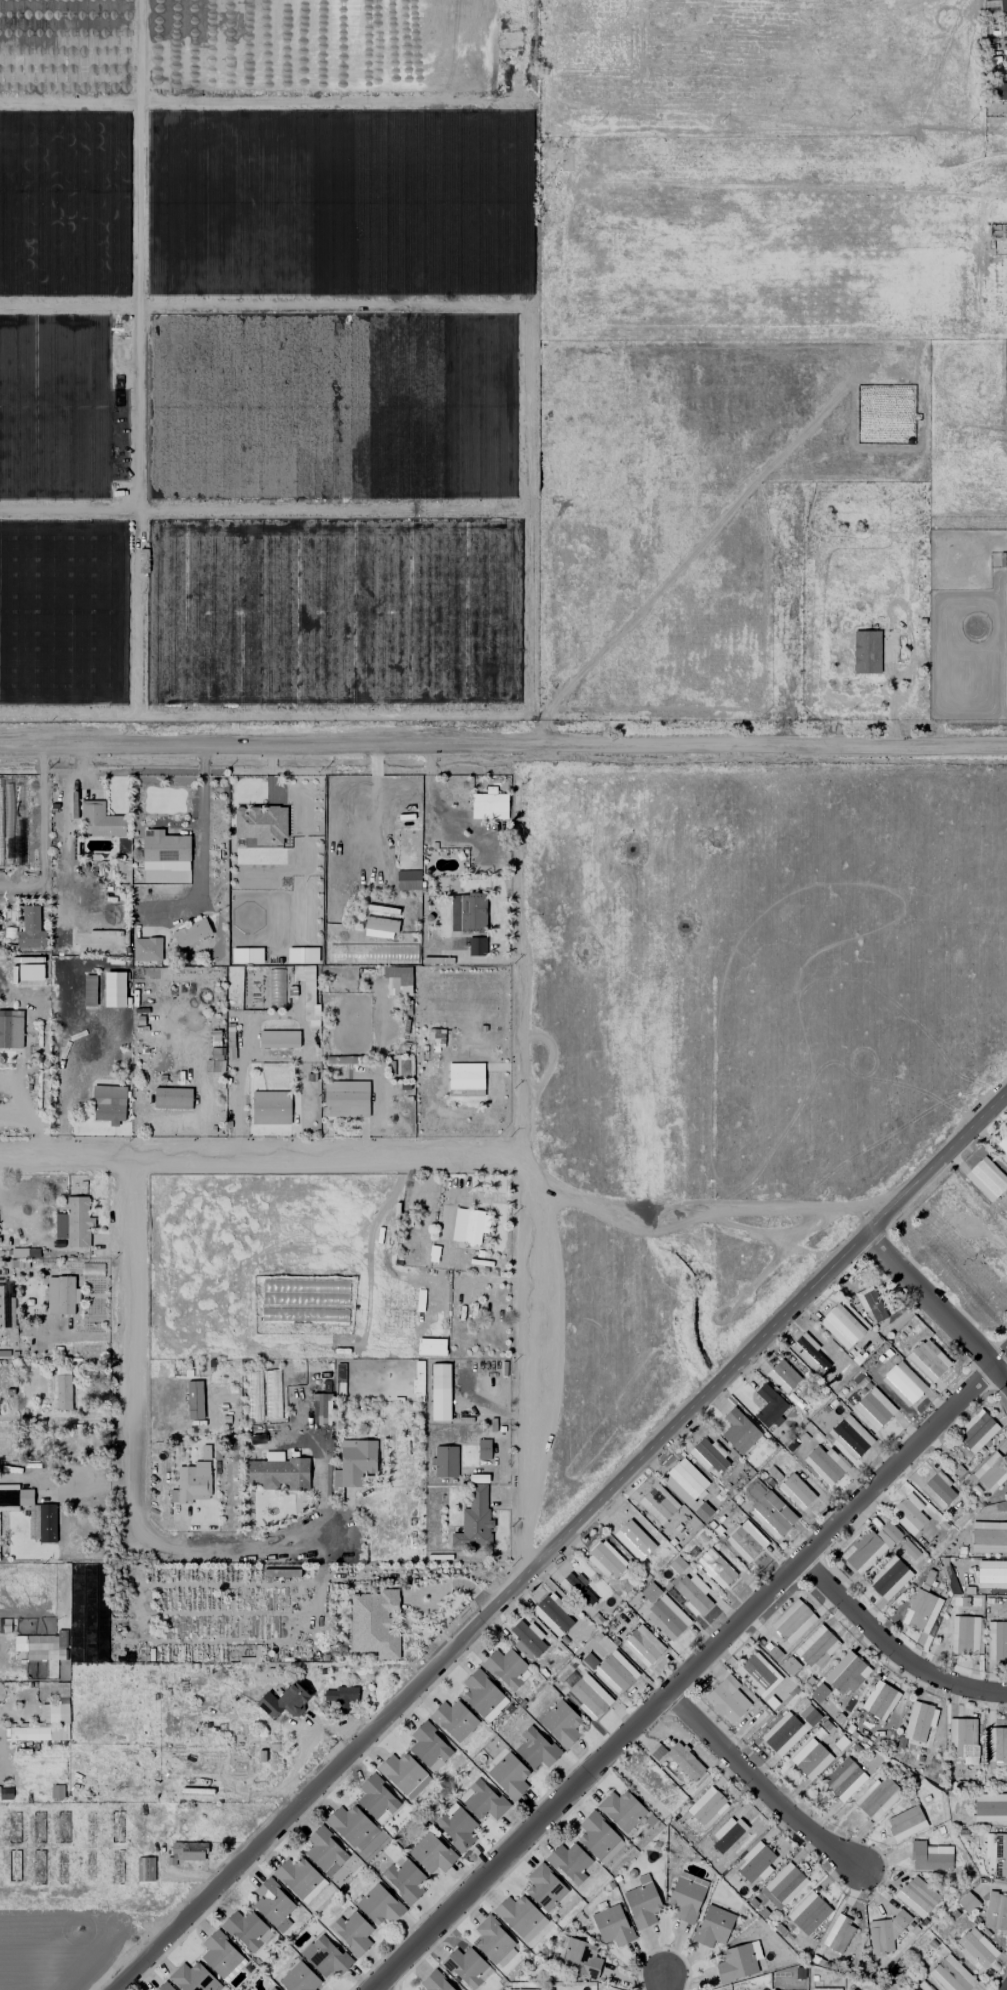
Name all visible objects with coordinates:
building: (990, 0)
building: (1002, 5)
building: (1000, 91)
road: (1003, 134)
building: (866, 652)
road: (503, 747)
building: (488, 805)
road: (438, 806)
road: (40, 815)
building: (99, 821)
building: (260, 824)
building: (164, 851)
building: (467, 913)
building: (379, 927)
building: (30, 929)
building: (191, 933)
building: (476, 946)
building: (146, 949)
building: (246, 955)
building: (302, 955)
building: (30, 972)
building: (397, 980)
building: (113, 989)
building: (89, 990)
building: (10, 1029)
building: (435, 1036)
building: (278, 1039)
building: (465, 1079)
building: (171, 1098)
building: (345, 1099)
building: (108, 1104)
building: (270, 1108)
building: (1002, 1148)
road: (260, 1157)
building: (986, 1178)
road: (704, 1204)
road: (522, 1205)
building: (74, 1222)
building: (469, 1225)
road: (755, 1235)
building: (24, 1253)
building: (60, 1295)
building: (870, 1303)
road: (936, 1309)
building: (841, 1326)
building: (808, 1353)
road: (132, 1354)
building: (927, 1359)
building: (782, 1376)
building: (902, 1383)
building: (62, 1388)
building: (439, 1392)
building: (768, 1407)
building: (873, 1408)
building: (320, 1409)
building: (738, 1431)
building: (976, 1431)
building: (850, 1437)
building: (483, 1449)
building: (204, 1452)
building: (708, 1455)
building: (445, 1461)
building: (354, 1462)
building: (825, 1464)
building: (990, 1472)
building: (277, 1473)
building: (684, 1482)
building: (192, 1483)
building: (939, 1489)
building: (795, 1491)
building: (657, 1503)
building: (702, 1511)
building: (31, 1512)
building: (908, 1513)
building: (772, 1515)
building: (474, 1520)
building: (988, 1537)
road: (560, 1540)
building: (633, 1540)
building: (745, 1541)
building: (869, 1546)
road: (229, 1547)
building: (606, 1560)
building: (714, 1568)
building: (991, 1574)
building: (888, 1578)
building: (576, 1587)
building: (692, 1594)
building: (965, 1602)
building: (921, 1611)
building: (552, 1615)
building: (666, 1617)
building: (792, 1621)
building: (374, 1624)
building: (966, 1635)
building: (527, 1640)
building: (996, 1640)
building: (642, 1645)
building: (816, 1647)
building: (36, 1648)
road: (891, 1650)
building: (593, 1653)
building: (774, 1654)
building: (789, 1665)
building: (506, 1669)
building: (615, 1672)
road: (689, 1672)
building: (846, 1674)
building: (818, 1693)
building: (482, 1695)
building: (588, 1696)
building: (341, 1697)
building: (726, 1699)
building: (879, 1700)
building: (283, 1701)
building: (58, 1720)
building: (453, 1720)
building: (918, 1721)
building: (560, 1723)
building: (788, 1729)
building: (29, 1733)
building: (962, 1739)
building: (996, 1745)
building: (428, 1747)
building: (535, 1748)
building: (677, 1759)
building: (809, 1759)
building: (403, 1774)
building: (508, 1776)
building: (843, 1779)
road: (758, 1783)
building: (877, 1797)
building: (376, 1799)
building: (481, 1800)
building: (706, 1807)
building: (990, 1807)
building: (621, 1810)
building: (905, 1823)
building: (349, 1825)
building: (455, 1826)
building: (725, 1836)
building: (598, 1838)
building: (323, 1850)
building: (188, 1851)
building: (431, 1853)
building: (996, 1854)
building: (929, 1857)
building: (569, 1862)
building: (754, 1862)
building: (144, 1869)
building: (299, 1879)
building: (403, 1879)
building: (782, 1886)
building: (543, 1887)
building: (686, 1896)
building: (916, 1896)
building: (641, 1901)
building: (967, 1903)
building: (272, 1905)
building: (379, 1905)
building: (995, 1911)
building: (808, 1913)
building: (519, 1917)
building: (612, 1925)
building: (712, 1926)
building: (246, 1930)
building: (351, 1932)
building: (838, 1934)
building: (493, 1942)
building: (976, 1949)
building: (220, 1956)
building: (324, 1957)
building: (580, 1958)
building: (737, 1962)
building: (466, 1967)
building: (951, 1975)
building: (191, 1978)
building: (298, 1978)
road: (660, 1978)
building: (434, 1982)
building: (162, 1987)
building: (272, 1989)
building: (825, 1989)

